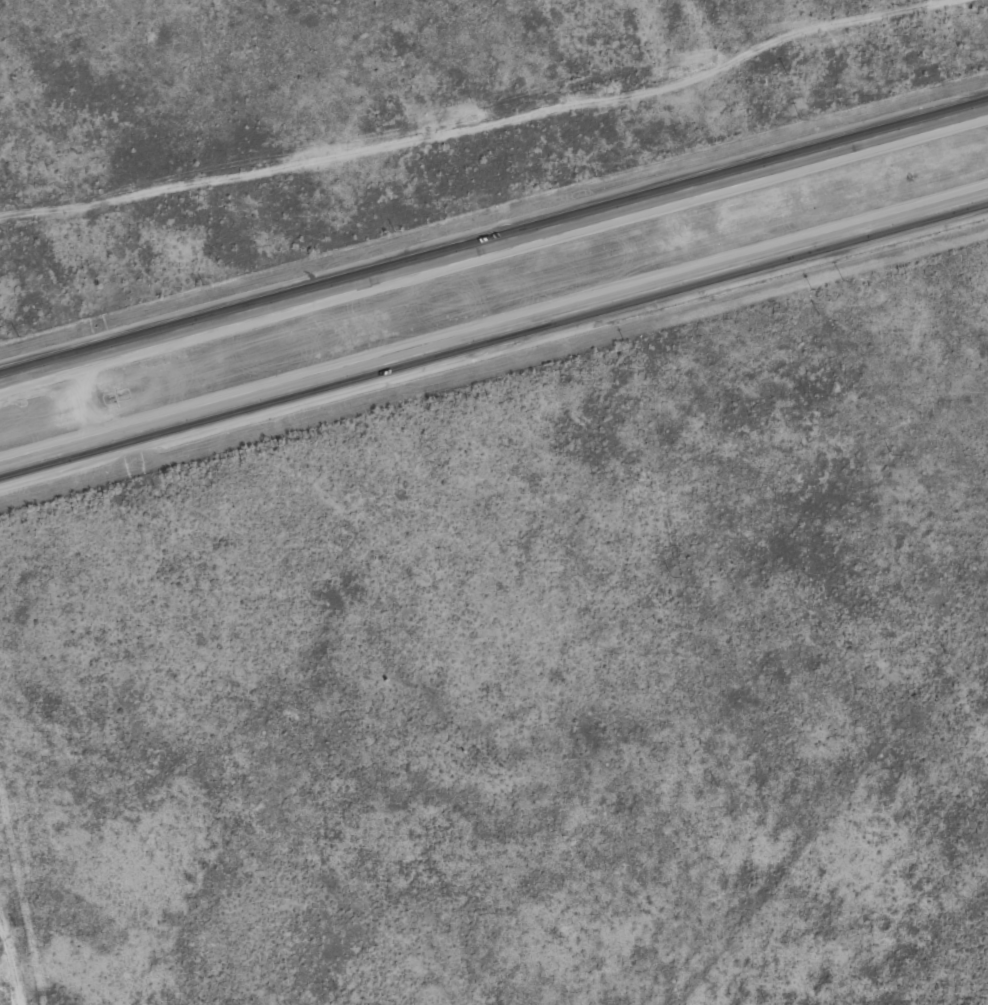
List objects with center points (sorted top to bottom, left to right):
road: (494, 242)
road: (494, 331)

